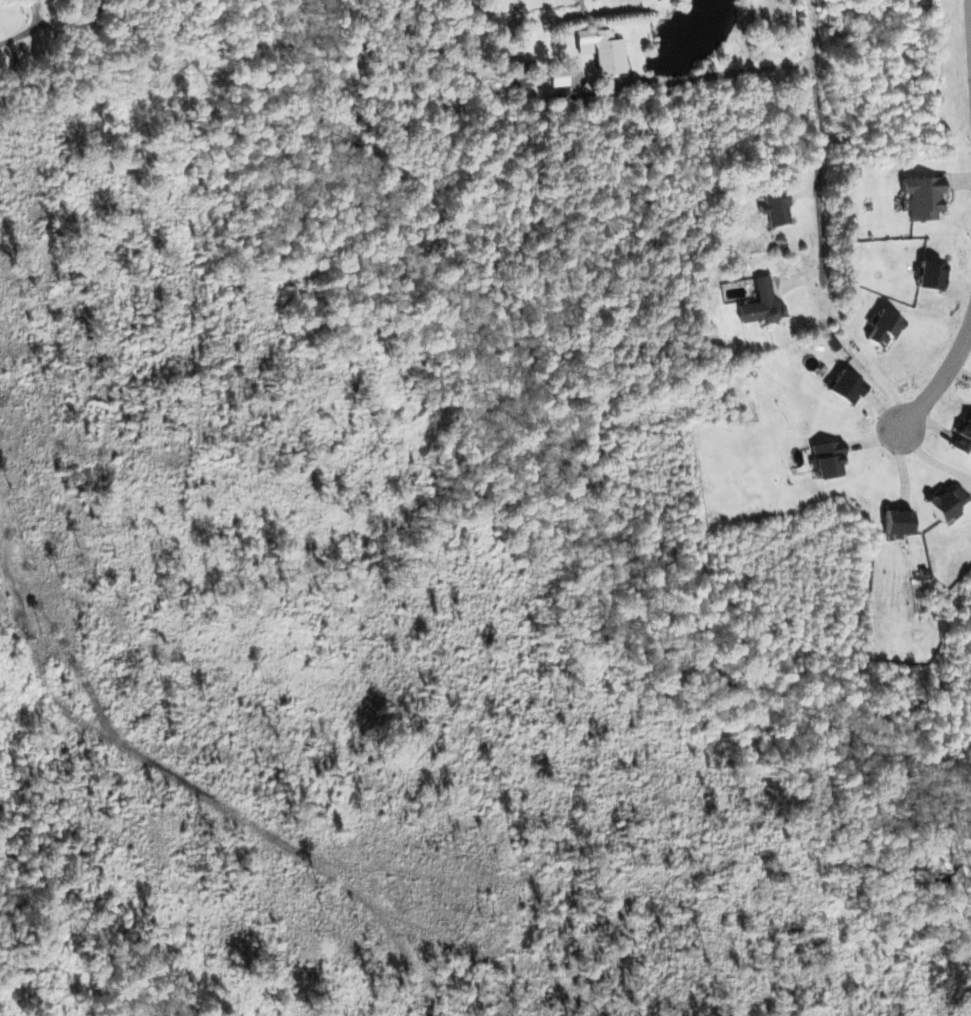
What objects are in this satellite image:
road: (21, 37)
building: (601, 49)
building: (520, 74)
road: (712, 76)
building: (558, 77)
road: (818, 150)
building: (921, 197)
building: (774, 208)
building: (930, 275)
building: (761, 304)
building: (882, 328)
road: (939, 384)
building: (845, 387)
building: (963, 435)
building: (827, 458)
building: (945, 503)
building: (897, 521)

